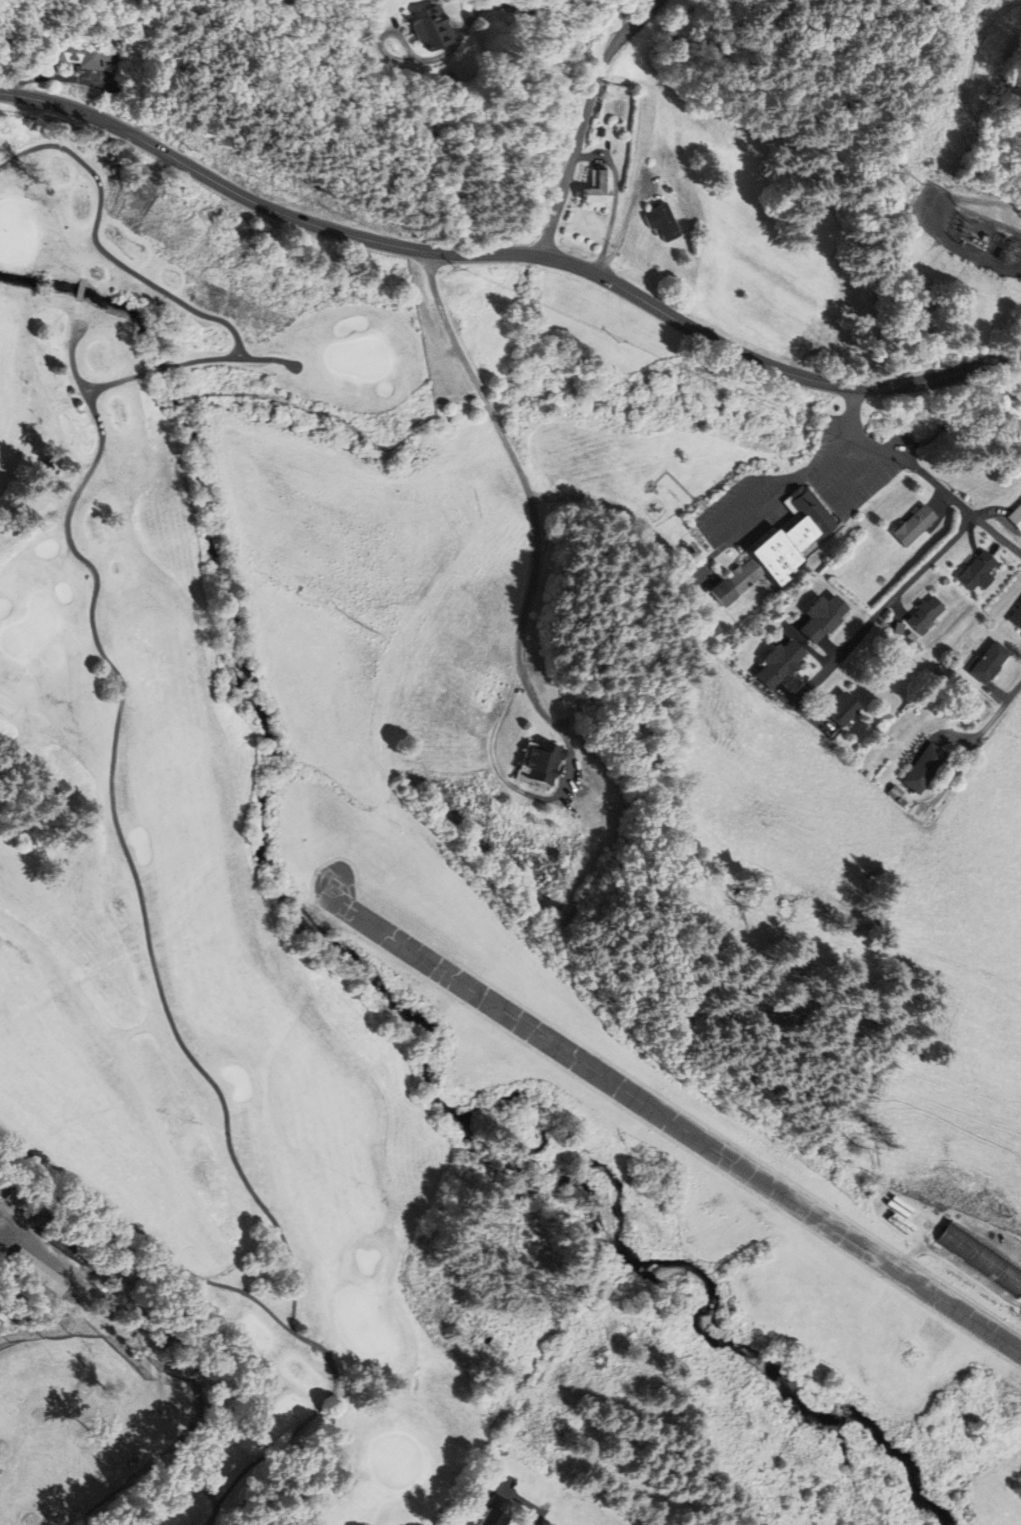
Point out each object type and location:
power tower: (997, 20)
road: (470, 21)
building: (431, 27)
building: (83, 54)
road: (57, 77)
road: (584, 118)
power tower: (919, 184)
building: (598, 189)
road: (616, 199)
building: (664, 221)
road: (626, 223)
power substation: (968, 232)
road: (98, 248)
road: (511, 254)
road: (82, 289)
road: (234, 359)
road: (158, 370)
road: (114, 382)
road: (822, 464)
road: (922, 474)
road: (862, 479)
road: (734, 502)
road: (752, 517)
building: (1015, 517)
building: (912, 526)
building: (783, 547)
building: (976, 573)
road: (300, 591)
road: (882, 612)
road: (528, 613)
building: (923, 615)
building: (823, 618)
building: (1016, 618)
building: (988, 664)
building: (779, 665)
building: (843, 710)
road: (974, 746)
building: (539, 763)
building: (926, 769)
road: (117, 831)
park: (207, 926)
airport runway: (670, 1125)
airport: (704, 1156)
road: (1, 1211)
road: (42, 1240)
building: (980, 1259)
road: (101, 1265)
building: (40, 1271)
road: (258, 1301)
road: (177, 1370)
road: (339, 1463)
building: (499, 1510)
road: (543, 1514)

